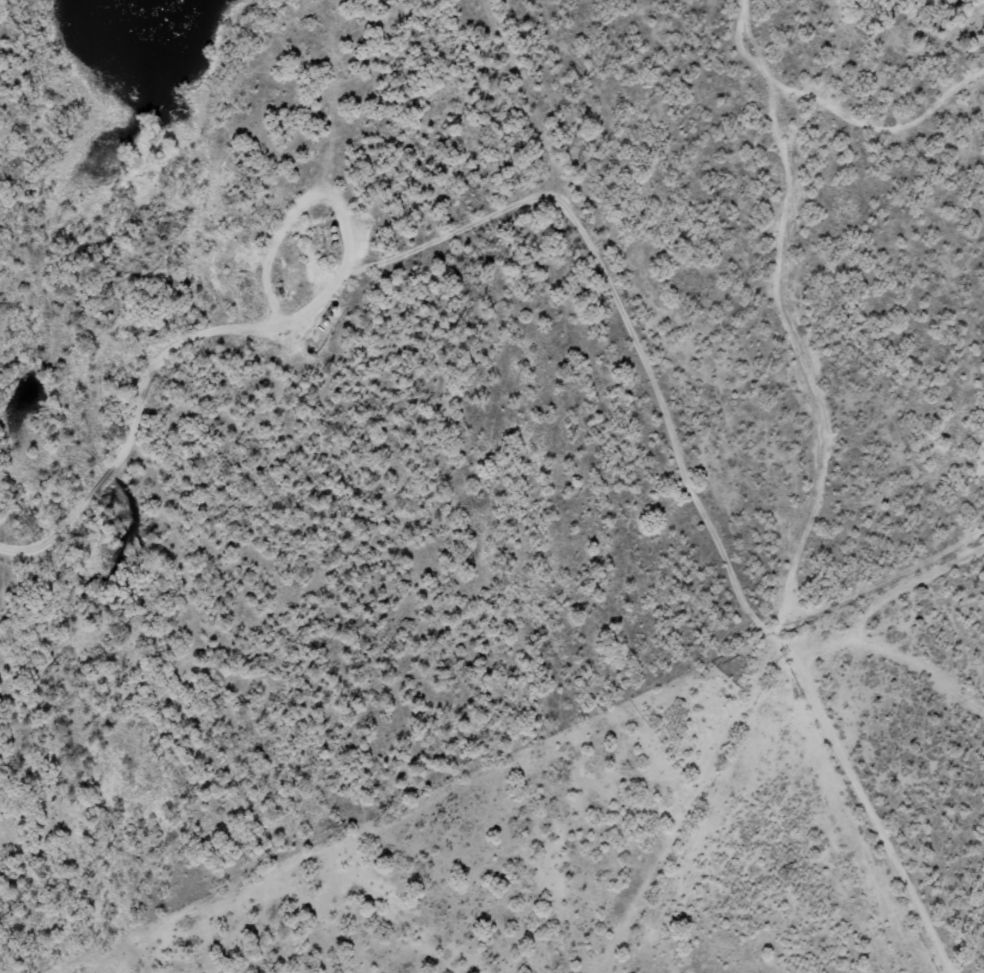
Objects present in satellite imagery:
road: (726, 684)

